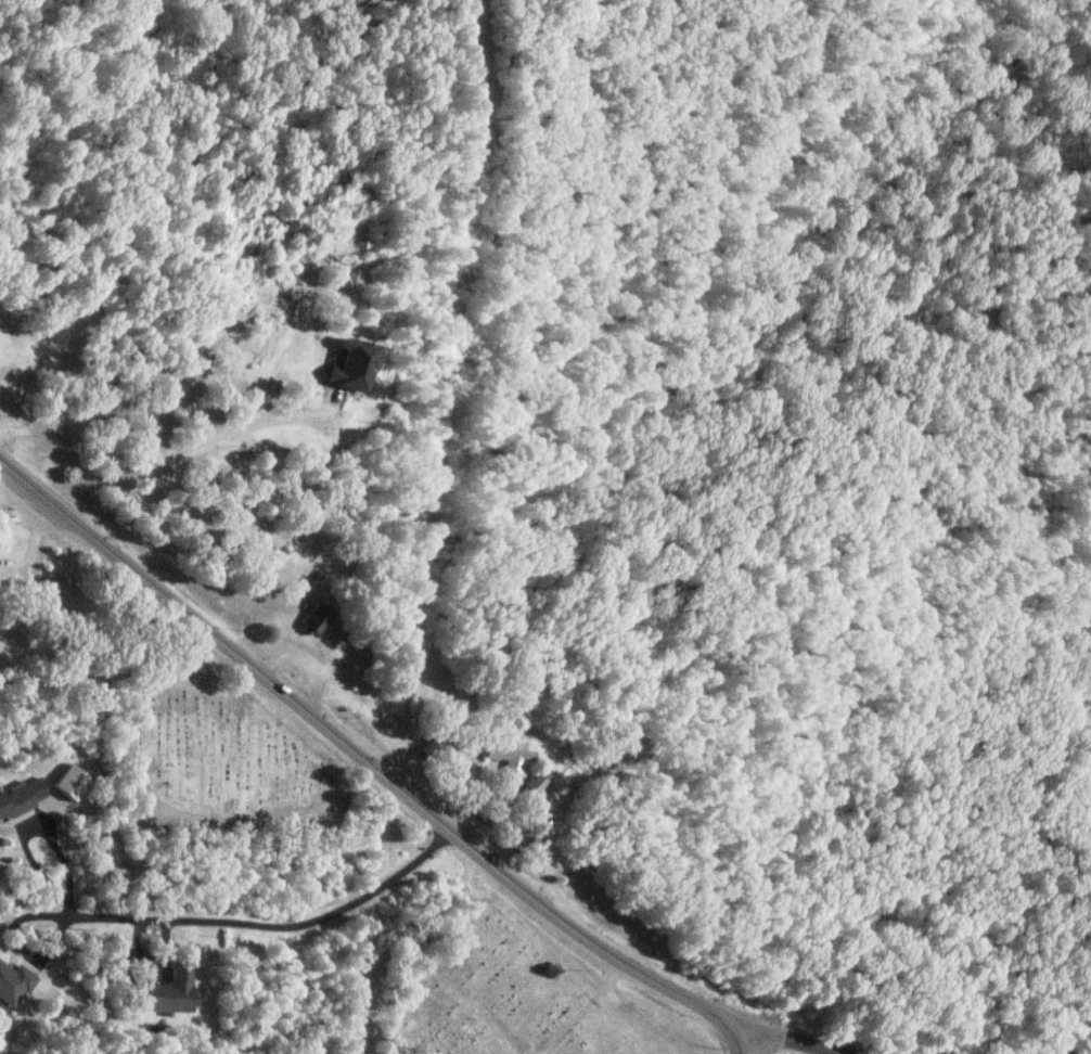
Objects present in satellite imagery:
building: (349, 365)
road: (194, 444)
building: (0, 524)
building: (316, 617)
park: (215, 754)
building: (510, 755)
road: (367, 763)
building: (73, 781)
building: (532, 785)
building: (23, 796)
road: (264, 925)
building: (14, 982)
building: (169, 991)
park: (495, 993)
road: (794, 1041)

